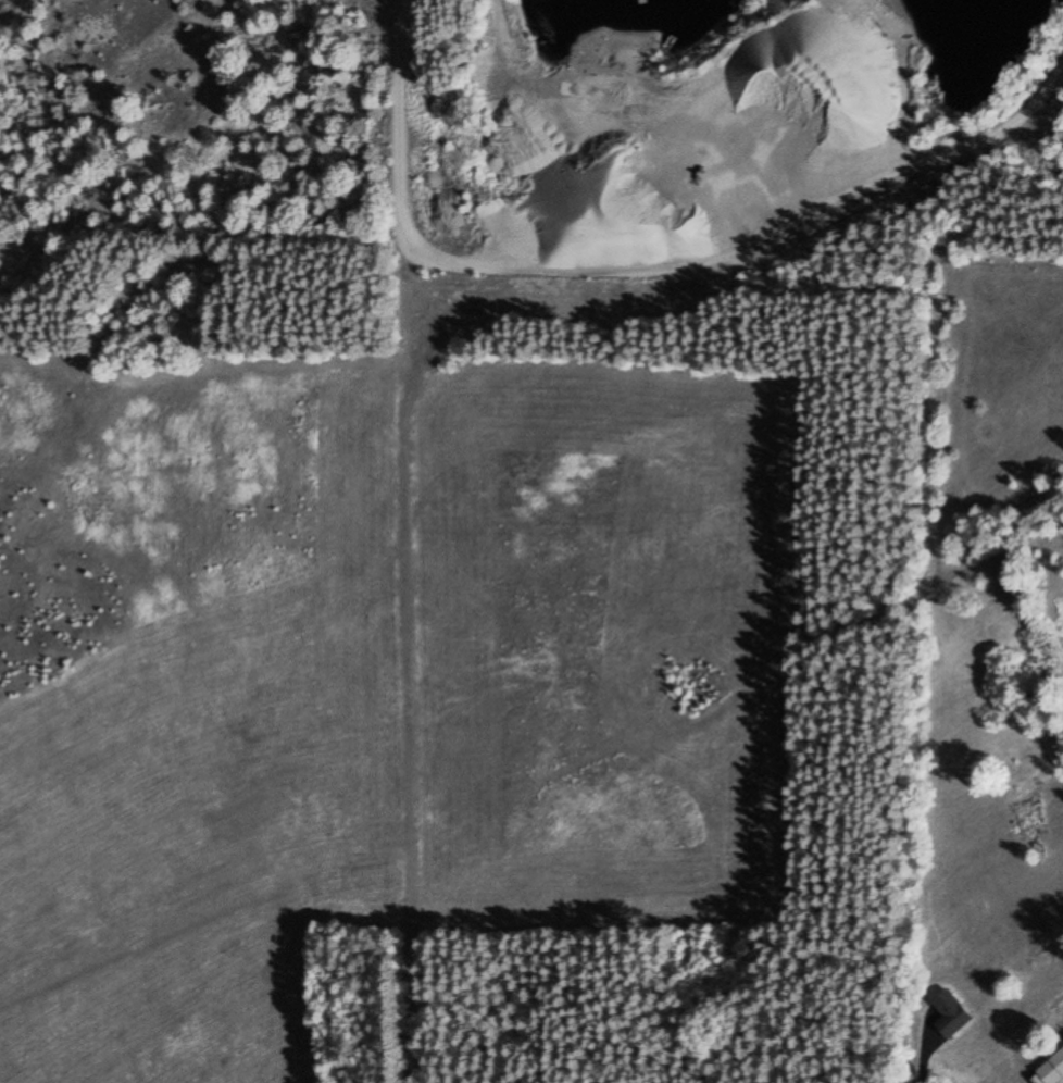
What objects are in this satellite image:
road: (401, 541)
building: (950, 1014)
building: (1052, 1069)

